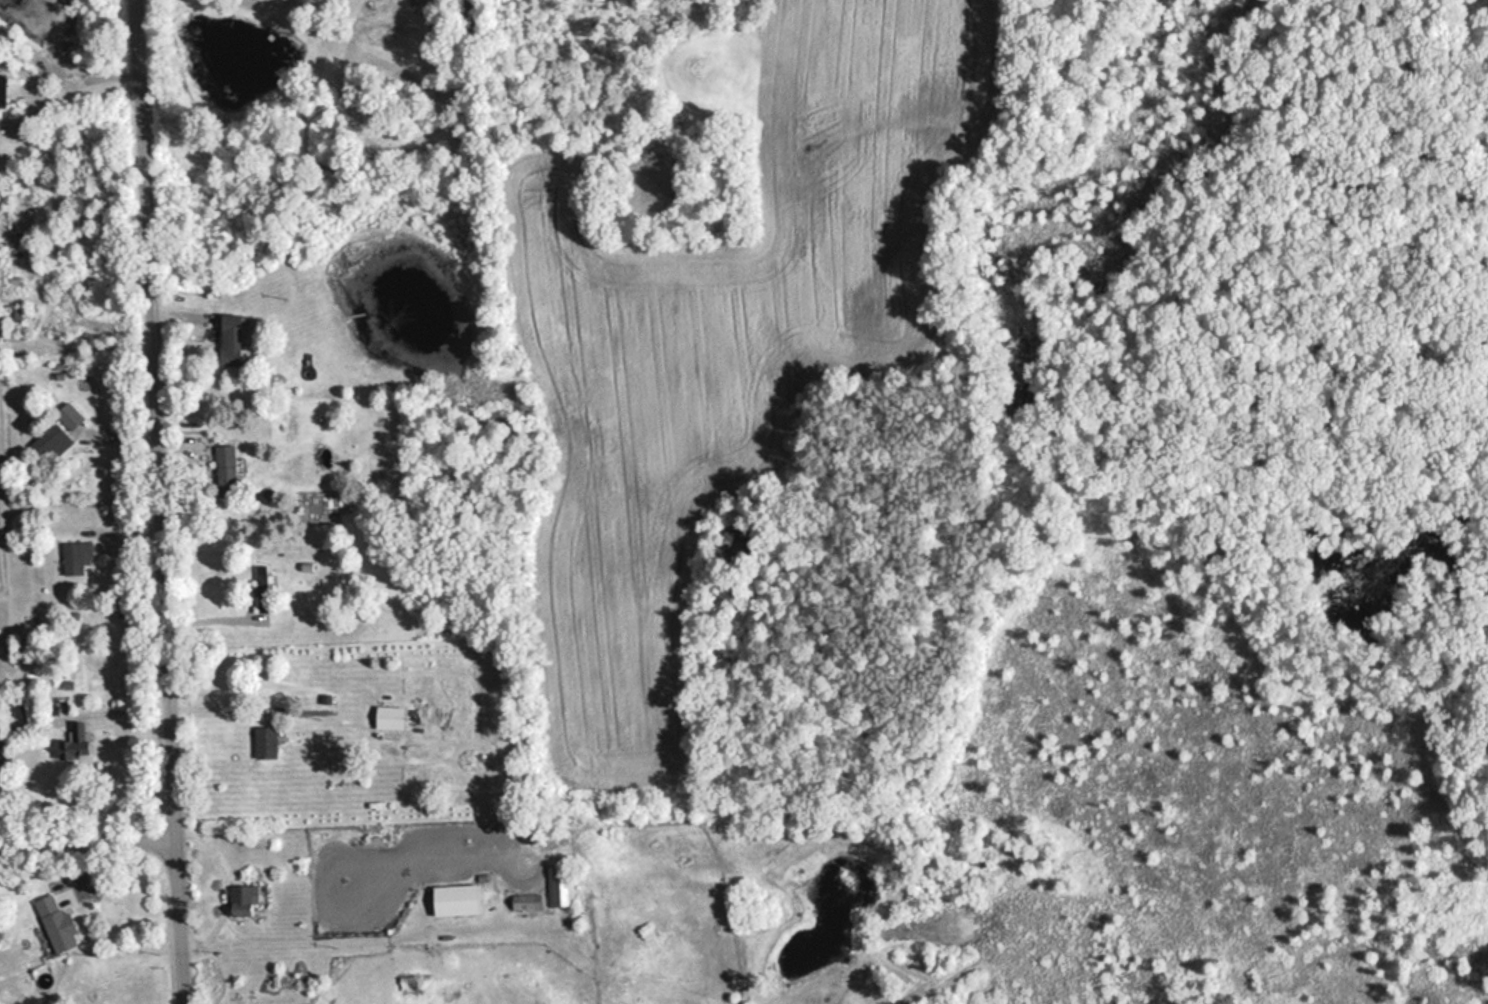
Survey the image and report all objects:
road: (83, 84)
building: (2, 90)
building: (228, 338)
building: (71, 417)
building: (50, 442)
building: (224, 467)
road: (159, 502)
building: (76, 555)
building: (307, 565)
building: (264, 588)
building: (389, 716)
building: (73, 741)
building: (264, 741)
road: (87, 840)
road: (222, 880)
building: (560, 885)
building: (242, 899)
building: (453, 899)
building: (524, 901)
building: (55, 922)
road: (369, 942)
building: (406, 982)

